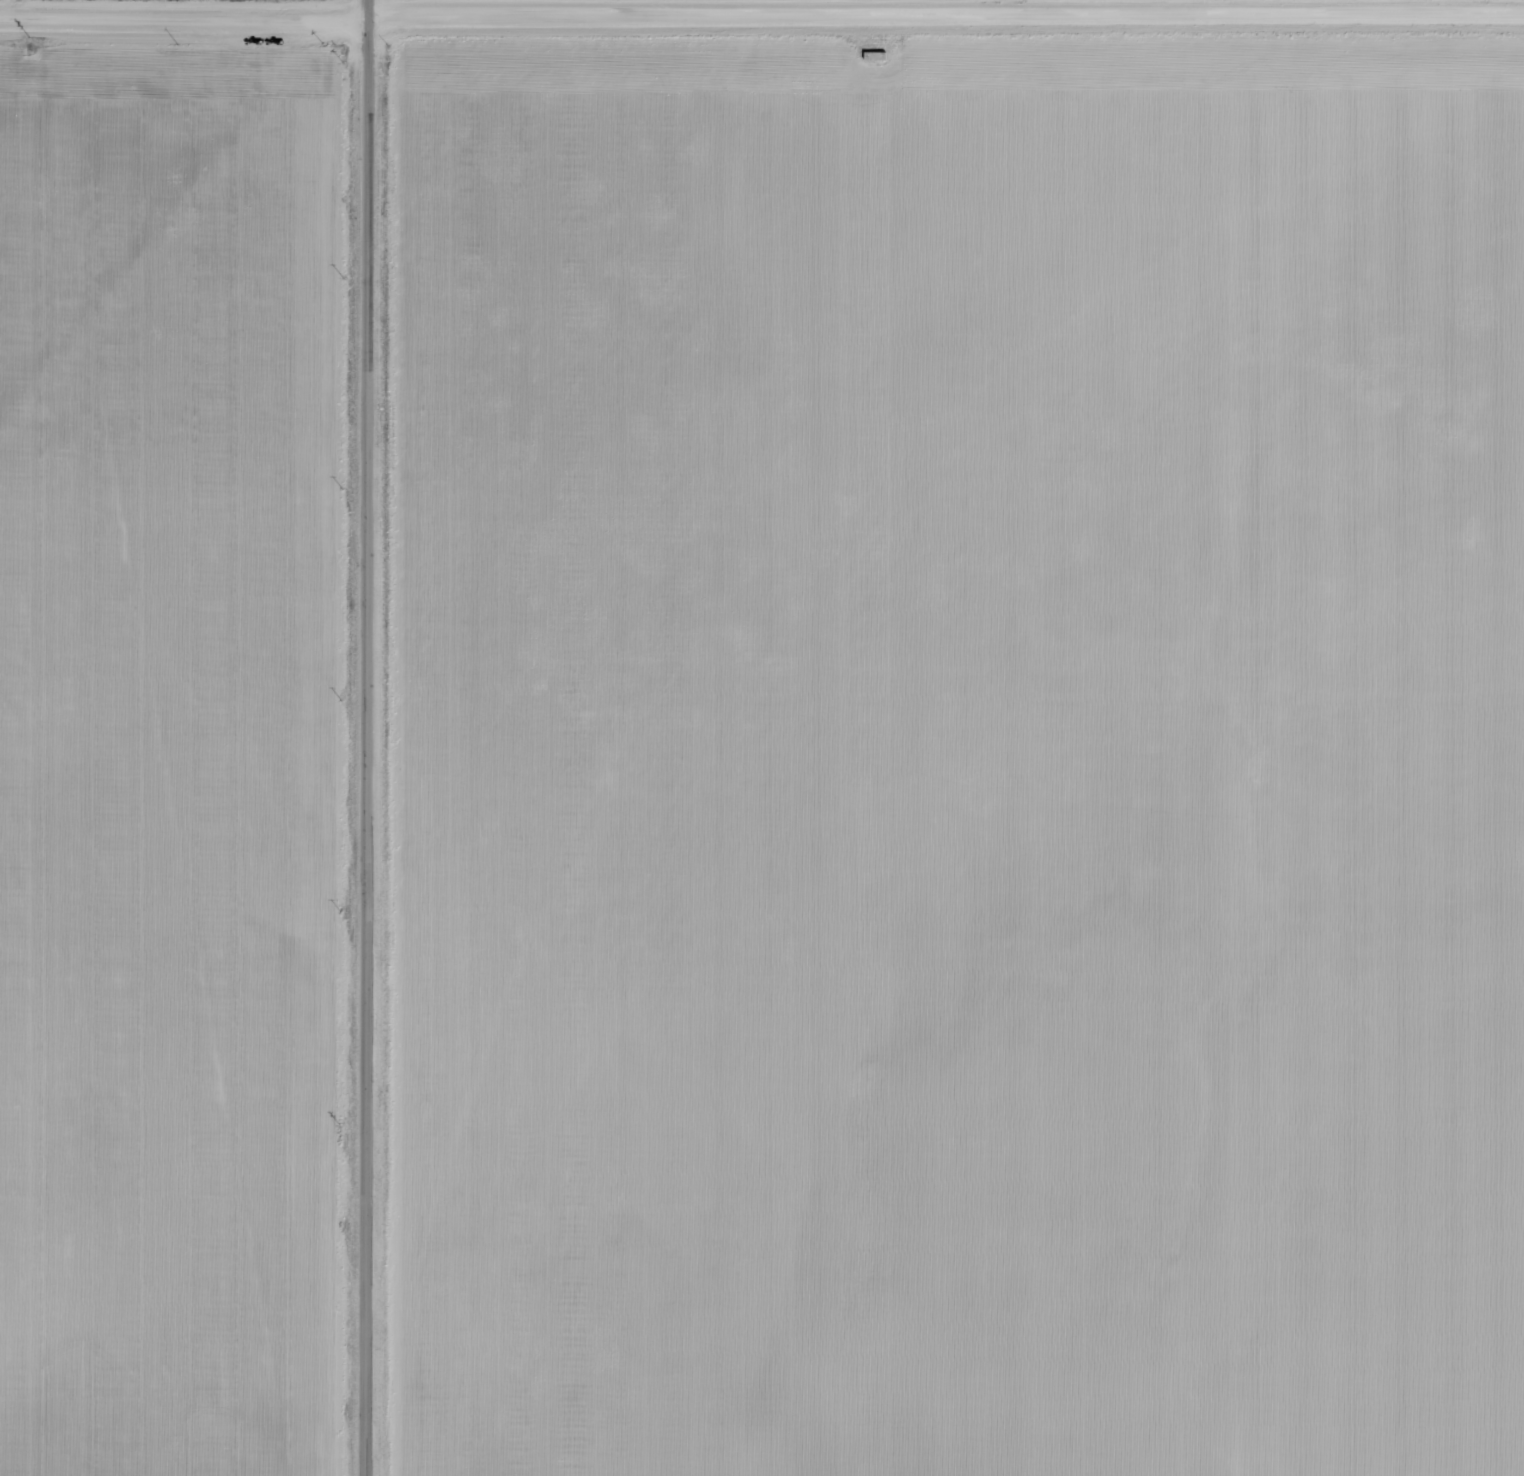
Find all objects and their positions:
road: (370, 738)

